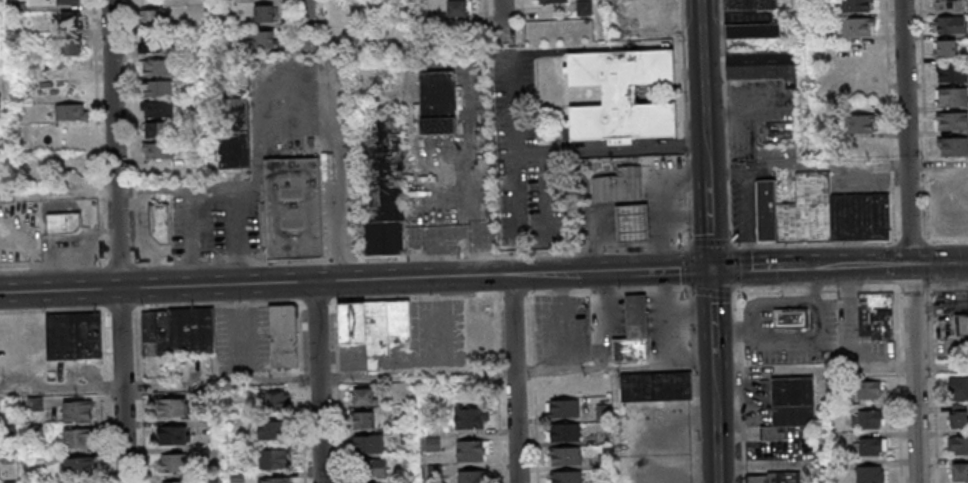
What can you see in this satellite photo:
building: (552, 1)
building: (68, 2)
building: (949, 4)
building: (857, 6)
building: (584, 7)
building: (458, 8)
building: (349, 10)
building: (648, 12)
building: (264, 13)
road: (802, 17)
building: (153, 18)
road: (602, 18)
building: (751, 19)
road: (507, 20)
building: (71, 21)
road: (313, 25)
building: (951, 25)
building: (858, 27)
building: (352, 36)
building: (264, 39)
building: (152, 44)
building: (71, 48)
building: (945, 48)
building: (858, 51)
building: (759, 64)
building: (155, 67)
road: (702, 72)
building: (952, 73)
building: (159, 87)
building: (622, 94)
building: (952, 97)
building: (438, 102)
building: (157, 109)
building: (72, 111)
building: (953, 121)
road: (686, 123)
building: (863, 124)
building: (158, 129)
building: (236, 134)
building: (953, 146)
building: (860, 149)
road: (609, 150)
building: (159, 151)
road: (514, 152)
road: (836, 170)
building: (77, 174)
building: (621, 185)
building: (386, 189)
road: (122, 190)
building: (295, 208)
building: (820, 213)
building: (635, 222)
building: (64, 223)
building: (158, 224)
road: (122, 241)
road: (913, 241)
road: (688, 265)
traffic signals: (709, 269)
road: (483, 275)
road: (820, 284)
road: (798, 302)
road: (854, 306)
road: (687, 313)
road: (710, 314)
building: (639, 315)
building: (876, 316)
building: (791, 317)
road: (665, 318)
road: (601, 321)
road: (569, 322)
building: (375, 326)
building: (961, 327)
building: (178, 331)
building: (74, 335)
building: (284, 336)
road: (786, 347)
building: (633, 348)
road: (613, 368)
road: (839, 369)
road: (515, 379)
road: (319, 382)
road: (693, 383)
road: (159, 385)
building: (657, 386)
building: (958, 388)
building: (868, 391)
building: (364, 397)
building: (276, 400)
building: (35, 403)
building: (0, 405)
building: (790, 406)
building: (174, 407)
building: (565, 408)
building: (77, 410)
building: (958, 416)
building: (470, 418)
building: (868, 420)
building: (364, 421)
road: (823, 426)
building: (275, 430)
building: (564, 432)
building: (174, 434)
building: (79, 437)
building: (406, 437)
building: (369, 444)
building: (433, 444)
building: (871, 446)
building: (958, 446)
building: (472, 450)
building: (565, 456)
building: (10, 457)
building: (274, 458)
building: (174, 462)
building: (79, 465)
building: (374, 468)
building: (960, 473)
building: (870, 474)
building: (472, 476)
building: (566, 477)
building: (773, 477)
building: (275, 480)
building: (174, 482)

